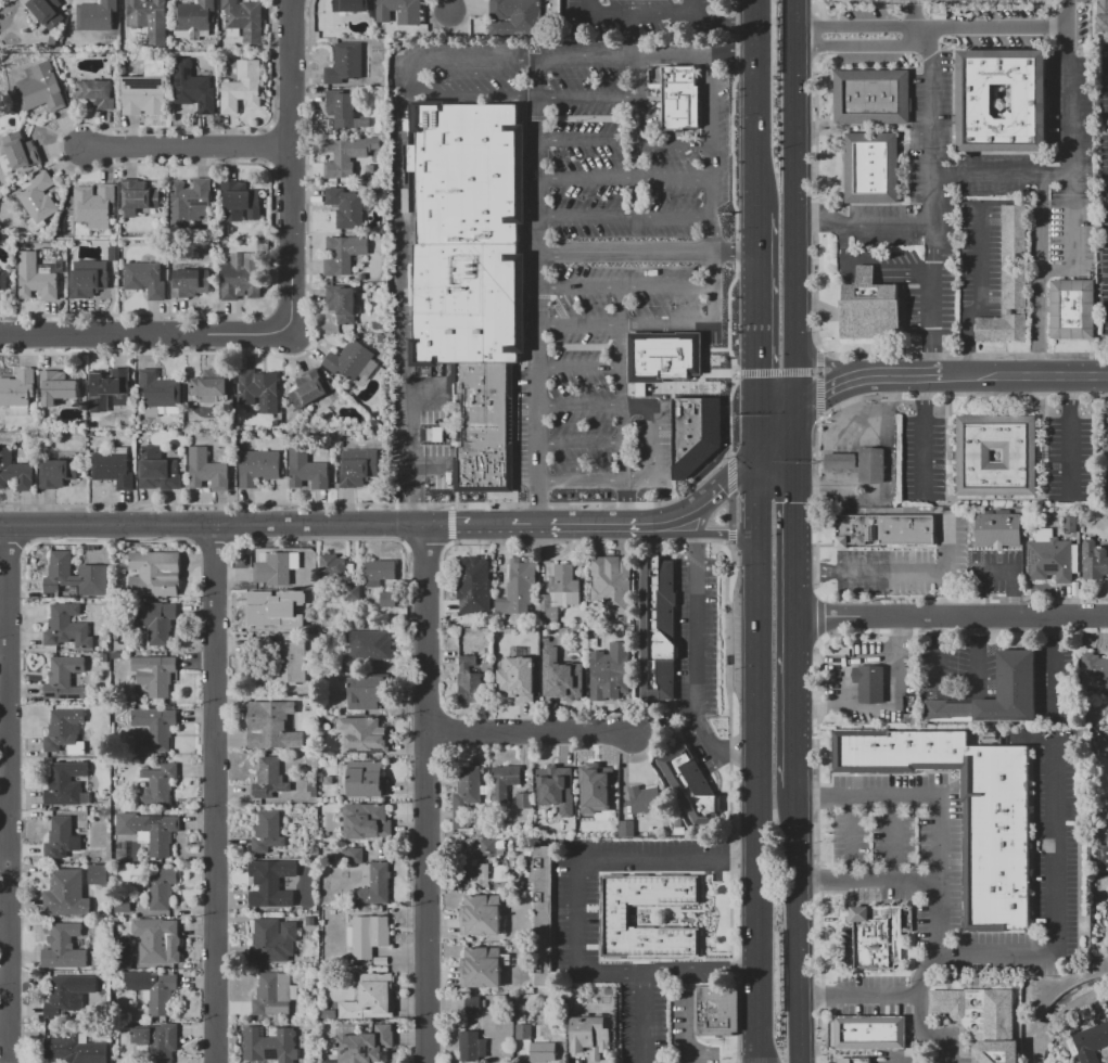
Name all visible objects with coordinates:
building: (351, 4)
road: (449, 5)
road: (691, 7)
road: (816, 7)
building: (47, 11)
building: (399, 11)
road: (633, 13)
road: (1067, 13)
building: (97, 15)
building: (194, 15)
building: (514, 16)
building: (1104, 16)
building: (149, 18)
building: (244, 20)
road: (722, 22)
road: (854, 27)
road: (992, 27)
road: (814, 36)
road: (1087, 41)
road: (859, 47)
road: (647, 56)
building: (345, 64)
road: (413, 76)
building: (242, 87)
building: (41, 88)
building: (193, 88)
building: (145, 90)
building: (98, 92)
building: (676, 94)
road: (588, 95)
building: (871, 97)
building: (1029, 97)
road: (755, 106)
building: (341, 107)
road: (637, 114)
road: (587, 141)
road: (674, 143)
road: (186, 145)
building: (18, 153)
building: (347, 155)
road: (396, 159)
road: (290, 167)
building: (870, 167)
road: (1068, 169)
road: (625, 179)
road: (932, 185)
road: (713, 190)
building: (138, 196)
building: (38, 198)
building: (189, 201)
building: (239, 201)
road: (813, 203)
building: (94, 205)
building: (346, 207)
road: (792, 207)
road: (625, 217)
road: (862, 223)
road: (735, 230)
road: (1070, 238)
road: (647, 252)
building: (114, 253)
building: (344, 254)
road: (870, 261)
parking lot: (602, 265)
building: (471, 271)
building: (37, 276)
road: (1039, 276)
building: (241, 277)
building: (145, 279)
building: (3, 280)
building: (190, 282)
building: (88, 283)
building: (1008, 283)
road: (626, 286)
road: (980, 293)
road: (539, 294)
building: (343, 303)
building: (868, 307)
building: (1072, 308)
road: (627, 326)
road: (755, 334)
road: (144, 336)
building: (382, 338)
road: (963, 354)
building: (663, 356)
road: (819, 358)
building: (349, 360)
road: (826, 363)
road: (939, 363)
road: (581, 367)
road: (772, 371)
road: (814, 371)
road: (819, 371)
road: (900, 375)
road: (1023, 375)
road: (622, 383)
road: (402, 384)
building: (211, 385)
building: (56, 387)
building: (310, 388)
road: (947, 388)
building: (111, 389)
building: (259, 389)
building: (17, 392)
road: (825, 392)
building: (161, 394)
road: (960, 394)
road: (819, 397)
road: (581, 405)
traffic signals: (792, 415)
building: (693, 432)
road: (774, 435)
road: (921, 435)
road: (1068, 437)
road: (581, 443)
building: (1106, 446)
building: (1019, 454)
traffic signals: (756, 456)
road: (652, 458)
building: (839, 460)
building: (870, 464)
building: (114, 468)
building: (258, 468)
building: (308, 468)
building: (359, 468)
building: (156, 469)
building: (207, 470)
building: (14, 471)
building: (58, 473)
road: (736, 473)
road: (729, 474)
road: (582, 482)
road: (632, 482)
road: (755, 495)
road: (373, 503)
road: (624, 503)
road: (639, 503)
road: (700, 503)
road: (729, 511)
road: (314, 512)
road: (704, 512)
road: (666, 521)
building: (1070, 525)
road: (213, 526)
road: (582, 526)
road: (632, 526)
road: (644, 526)
road: (456, 527)
road: (512, 527)
building: (884, 528)
building: (998, 529)
road: (213, 535)
road: (672, 535)
road: (726, 535)
traffic signals: (755, 535)
road: (730, 537)
road: (317, 539)
road: (426, 540)
road: (588, 540)
road: (109, 541)
road: (941, 543)
road: (425, 545)
road: (12, 546)
road: (229, 547)
road: (194, 548)
road: (212, 548)
building: (1048, 558)
building: (1094, 561)
road: (213, 562)
building: (277, 568)
building: (332, 568)
road: (892, 568)
road: (993, 571)
building: (379, 572)
building: (155, 574)
building: (75, 576)
building: (612, 582)
building: (473, 585)
building: (518, 587)
road: (426, 589)
building: (559, 590)
building: (351, 592)
building: (387, 600)
road: (793, 604)
building: (122, 610)
building: (270, 614)
road: (1094, 617)
road: (937, 618)
building: (627, 619)
building: (157, 622)
road: (213, 625)
building: (66, 627)
building: (658, 627)
building: (367, 646)
building: (115, 655)
building: (103, 657)
building: (285, 665)
road: (698, 665)
building: (486, 666)
building: (1094, 666)
road: (1049, 668)
building: (609, 671)
building: (155, 674)
building: (1016, 675)
building: (561, 676)
building: (64, 678)
building: (517, 678)
building: (469, 680)
building: (869, 683)
road: (959, 691)
building: (368, 692)
road: (884, 707)
road: (7, 721)
building: (270, 725)
building: (153, 730)
building: (64, 731)
road: (527, 731)
building: (364, 734)
building: (366, 778)
building: (268, 779)
building: (594, 779)
building: (504, 783)
building: (65, 784)
building: (158, 784)
building: (690, 785)
building: (557, 787)
building: (466, 796)
building: (645, 798)
road: (755, 798)
building: (524, 799)
building: (611, 799)
road: (729, 805)
building: (967, 808)
building: (1107, 817)
building: (366, 821)
building: (625, 821)
road: (938, 823)
building: (150, 830)
building: (267, 832)
road: (850, 837)
road: (893, 837)
building: (62, 838)
road: (426, 844)
building: (492, 846)
building: (354, 855)
road: (213, 858)
building: (1103, 859)
building: (472, 868)
road: (591, 872)
road: (556, 873)
road: (561, 873)
road: (575, 873)
building: (98, 874)
road: (823, 881)
road: (894, 881)
building: (271, 883)
building: (374, 885)
building: (162, 888)
building: (700, 888)
building: (66, 893)
road: (1052, 901)
building: (123, 904)
road: (577, 906)
road: (591, 907)
road: (575, 908)
road: (560, 909)
road: (689, 910)
building: (481, 915)
road: (552, 915)
building: (616, 915)
road: (634, 915)
road: (677, 915)
road: (701, 915)
building: (542, 917)
building: (306, 921)
road: (598, 928)
road: (794, 928)
building: (368, 935)
building: (877, 936)
building: (158, 939)
building: (269, 942)
road: (559, 946)
road: (574, 946)
road: (591, 946)
building: (64, 947)
building: (122, 953)
road: (715, 953)
road: (632, 961)
building: (100, 963)
road: (698, 965)
building: (481, 968)
road: (631, 974)
road: (7, 976)
road: (625, 986)
flagpole: (590, 988)
flagpole: (595, 988)
building: (154, 990)
building: (273, 994)
road: (858, 995)
building: (370, 997)
building: (63, 998)
building: (472, 1003)
building: (715, 1011)
building: (327, 1013)
building: (981, 1020)
road: (689, 1028)
road: (934, 1028)
building: (524, 1032)
building: (869, 1033)
building: (590, 1037)
building: (158, 1041)
building: (1088, 1042)
road: (711, 1043)
building: (269, 1045)
building: (366, 1046)
building: (472, 1047)
road: (7, 1049)
building: (77, 1049)
building: (543, 1051)
road: (727, 1051)
road: (895, 1059)
building: (854, 1060)
building: (330, 1061)

